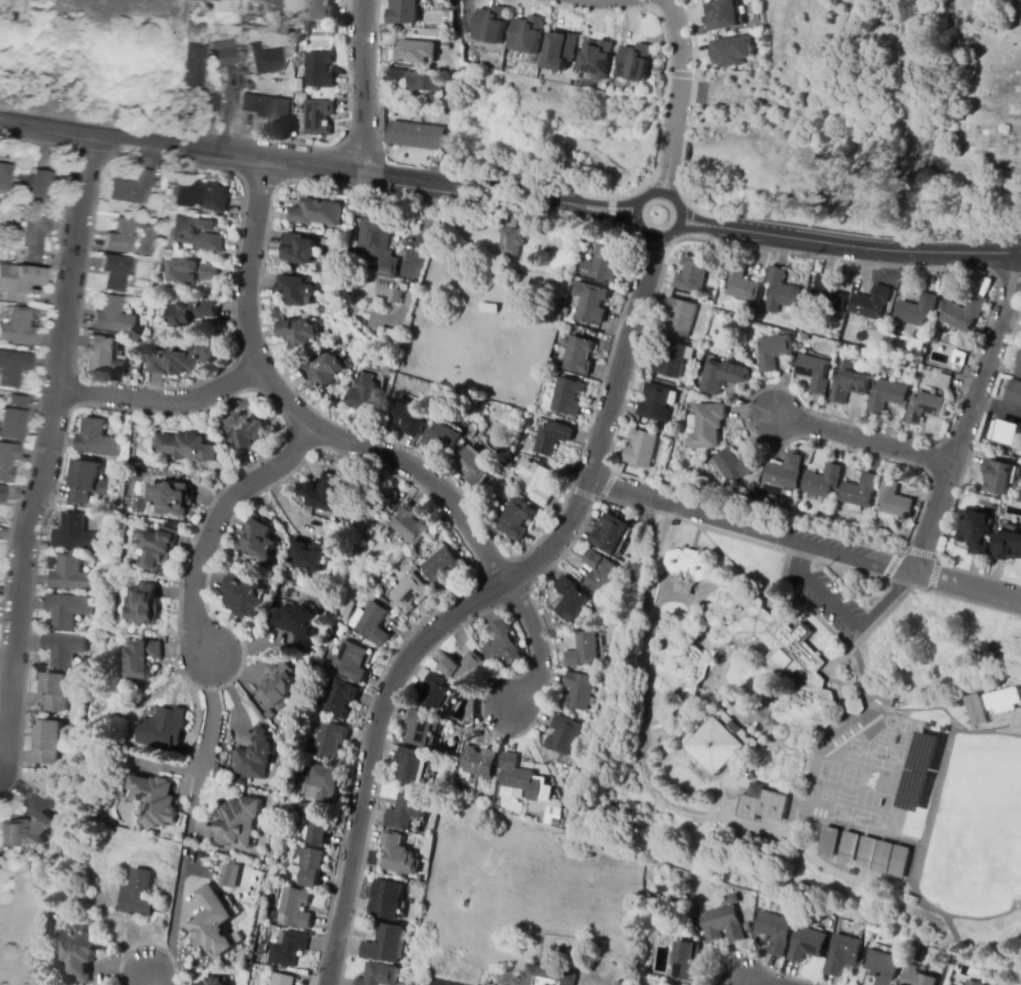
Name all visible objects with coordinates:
building: (274, 3)
building: (446, 9)
road: (1019, 9)
building: (320, 10)
building: (404, 12)
building: (721, 15)
building: (451, 16)
building: (492, 24)
building: (190, 29)
building: (528, 34)
building: (445, 46)
building: (561, 49)
building: (732, 51)
building: (416, 52)
building: (224, 54)
building: (598, 57)
building: (266, 60)
building: (635, 62)
building: (194, 66)
building: (319, 71)
road: (679, 74)
building: (415, 80)
building: (256, 85)
building: (298, 85)
road: (363, 85)
building: (301, 96)
road: (677, 96)
building: (436, 98)
road: (228, 103)
building: (211, 104)
building: (268, 108)
building: (316, 118)
park: (976, 120)
building: (416, 136)
road: (658, 148)
road: (316, 164)
building: (5, 177)
building: (34, 186)
building: (132, 189)
building: (202, 196)
road: (678, 209)
road: (608, 211)
building: (316, 213)
building: (145, 225)
building: (195, 234)
building: (35, 237)
building: (120, 237)
building: (512, 242)
road: (849, 245)
building: (378, 246)
road: (651, 247)
building: (299, 249)
building: (330, 253)
building: (602, 265)
road: (913, 267)
road: (415, 268)
building: (192, 272)
building: (115, 273)
building: (691, 275)
building: (495, 280)
building: (19, 281)
building: (741, 284)
building: (296, 290)
building: (780, 292)
building: (827, 296)
building: (870, 303)
building: (590, 304)
building: (488, 308)
building: (564, 311)
building: (916, 311)
building: (191, 312)
building: (146, 313)
building: (963, 314)
building: (113, 316)
building: (679, 318)
building: (17, 326)
building: (300, 334)
building: (809, 337)
road: (609, 348)
building: (774, 352)
building: (103, 354)
building: (578, 356)
building: (954, 357)
road: (620, 359)
building: (673, 360)
building: (184, 361)
building: (1018, 366)
building: (14, 368)
building: (324, 370)
building: (814, 371)
building: (721, 377)
building: (943, 381)
building: (848, 384)
building: (1014, 393)
building: (365, 396)
building: (566, 396)
building: (887, 396)
road: (161, 401)
building: (655, 404)
building: (925, 406)
road: (970, 415)
road: (297, 418)
building: (13, 419)
building: (409, 419)
building: (707, 427)
building: (244, 431)
building: (1006, 433)
road: (864, 437)
building: (444, 438)
building: (96, 439)
building: (551, 439)
building: (187, 447)
building: (642, 449)
road: (51, 456)
building: (8, 461)
building: (474, 466)
building: (731, 468)
building: (785, 474)
building: (999, 477)
building: (823, 481)
building: (85, 482)
building: (538, 485)
building: (323, 493)
building: (860, 493)
building: (2, 494)
building: (381, 497)
building: (171, 498)
building: (408, 498)
road: (598, 499)
building: (893, 502)
building: (515, 520)
road: (215, 524)
building: (407, 526)
road: (750, 527)
building: (974, 531)
building: (72, 533)
building: (611, 535)
building: (258, 540)
building: (1008, 546)
building: (157, 547)
building: (310, 555)
road: (919, 555)
road: (809, 557)
building: (441, 566)
building: (688, 570)
building: (67, 574)
building: (604, 575)
road: (967, 584)
building: (407, 593)
building: (241, 596)
building: (570, 599)
building: (143, 604)
building: (701, 607)
building: (65, 610)
building: (346, 610)
building: (606, 614)
road: (844, 614)
building: (294, 622)
building: (370, 624)
building: (348, 634)
building: (503, 646)
road: (537, 648)
building: (61, 650)
building: (583, 651)
building: (142, 659)
building: (775, 659)
building: (348, 661)
building: (464, 668)
building: (678, 669)
building: (324, 675)
building: (278, 686)
building: (53, 691)
building: (578, 692)
road: (390, 693)
building: (435, 694)
building: (882, 697)
building: (336, 699)
building: (1004, 701)
building: (855, 705)
road: (881, 705)
building: (977, 709)
building: (309, 711)
building: (269, 714)
building: (664, 714)
building: (419, 728)
building: (165, 729)
building: (562, 735)
building: (323, 741)
building: (48, 742)
building: (718, 743)
road: (212, 744)
building: (255, 756)
building: (478, 762)
building: (411, 766)
park: (961, 769)
building: (219, 773)
road: (1, 779)
building: (519, 780)
building: (317, 782)
building: (477, 800)
building: (155, 801)
building: (764, 804)
building: (406, 811)
building: (542, 818)
road: (734, 820)
building: (238, 822)
building: (314, 823)
building: (25, 831)
building: (830, 842)
building: (850, 848)
building: (867, 852)
building: (398, 856)
building: (884, 856)
building: (900, 862)
building: (308, 867)
building: (228, 875)
building: (684, 878)
building: (418, 879)
building: (139, 894)
building: (385, 900)
building: (293, 909)
building: (212, 922)
building: (721, 925)
building: (773, 932)
building: (385, 944)
building: (806, 945)
building: (286, 949)
building: (80, 953)
building: (843, 955)
building: (685, 963)
building: (885, 966)
building: (379, 975)
road: (147, 976)
building: (546, 976)
building: (917, 977)
building: (283, 980)
road: (749, 981)
building: (214, 982)
building: (619, 983)
building: (972, 983)
road: (442, 984)

